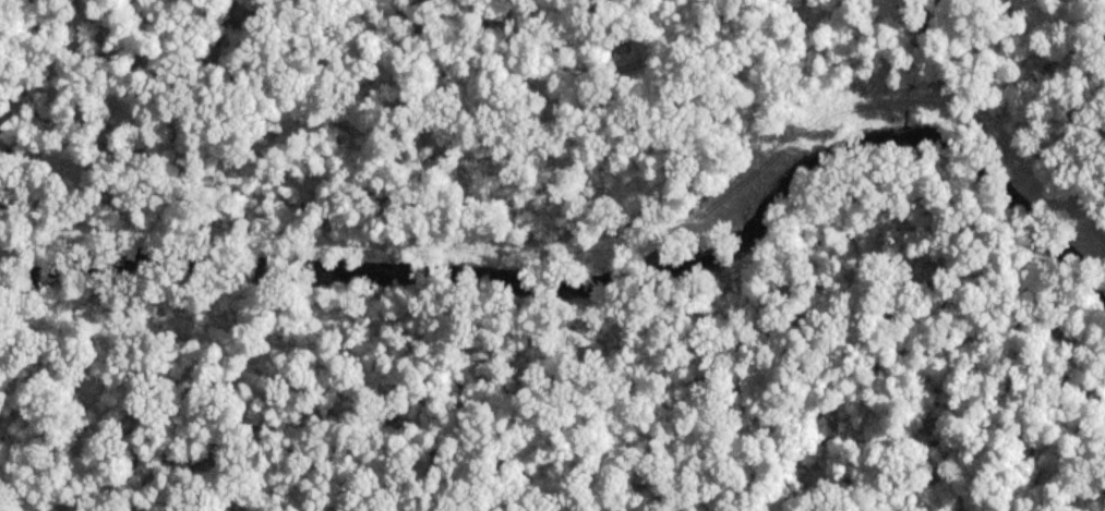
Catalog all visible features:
river: (604, 276)

